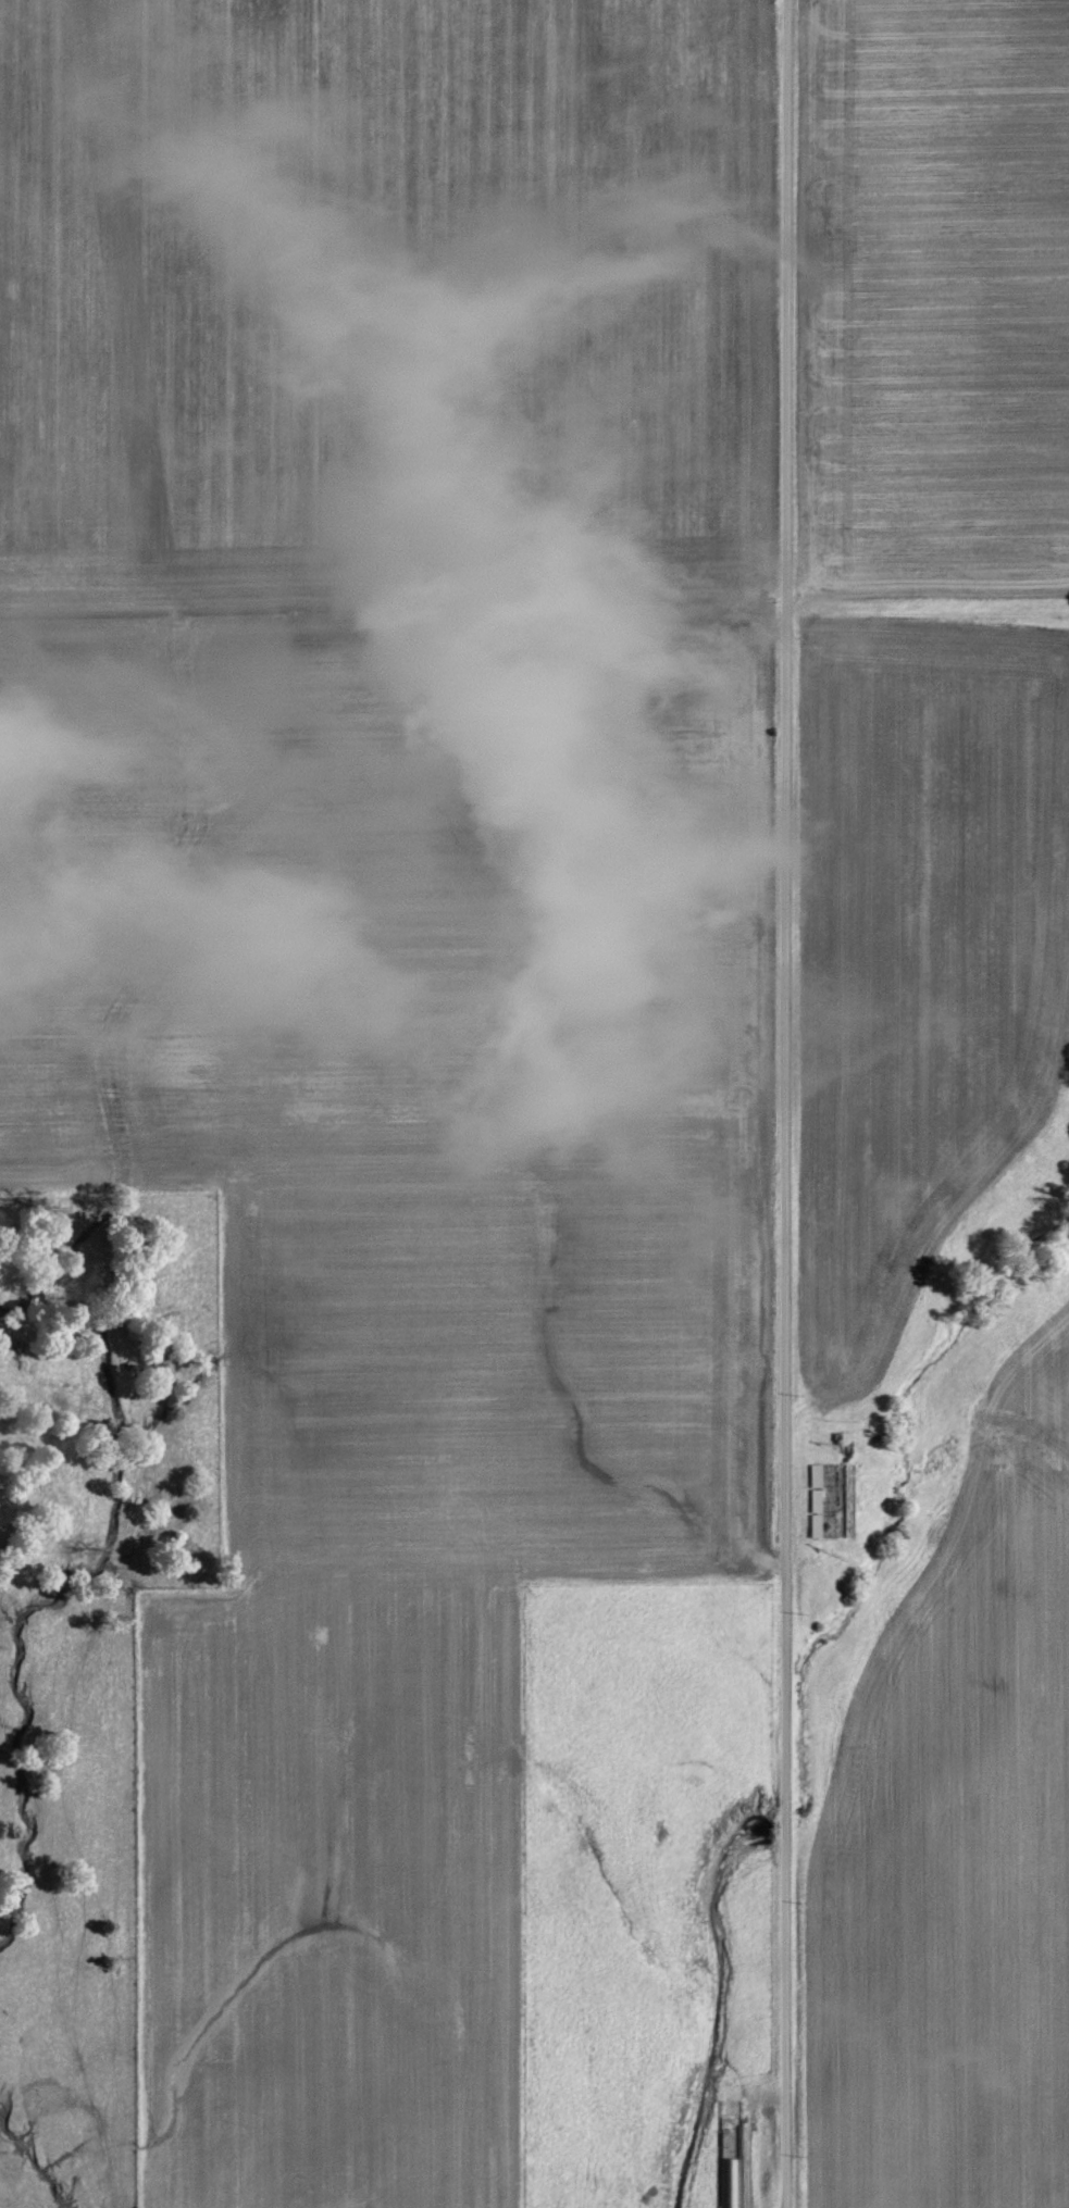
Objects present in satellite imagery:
road: (784, 1103)

